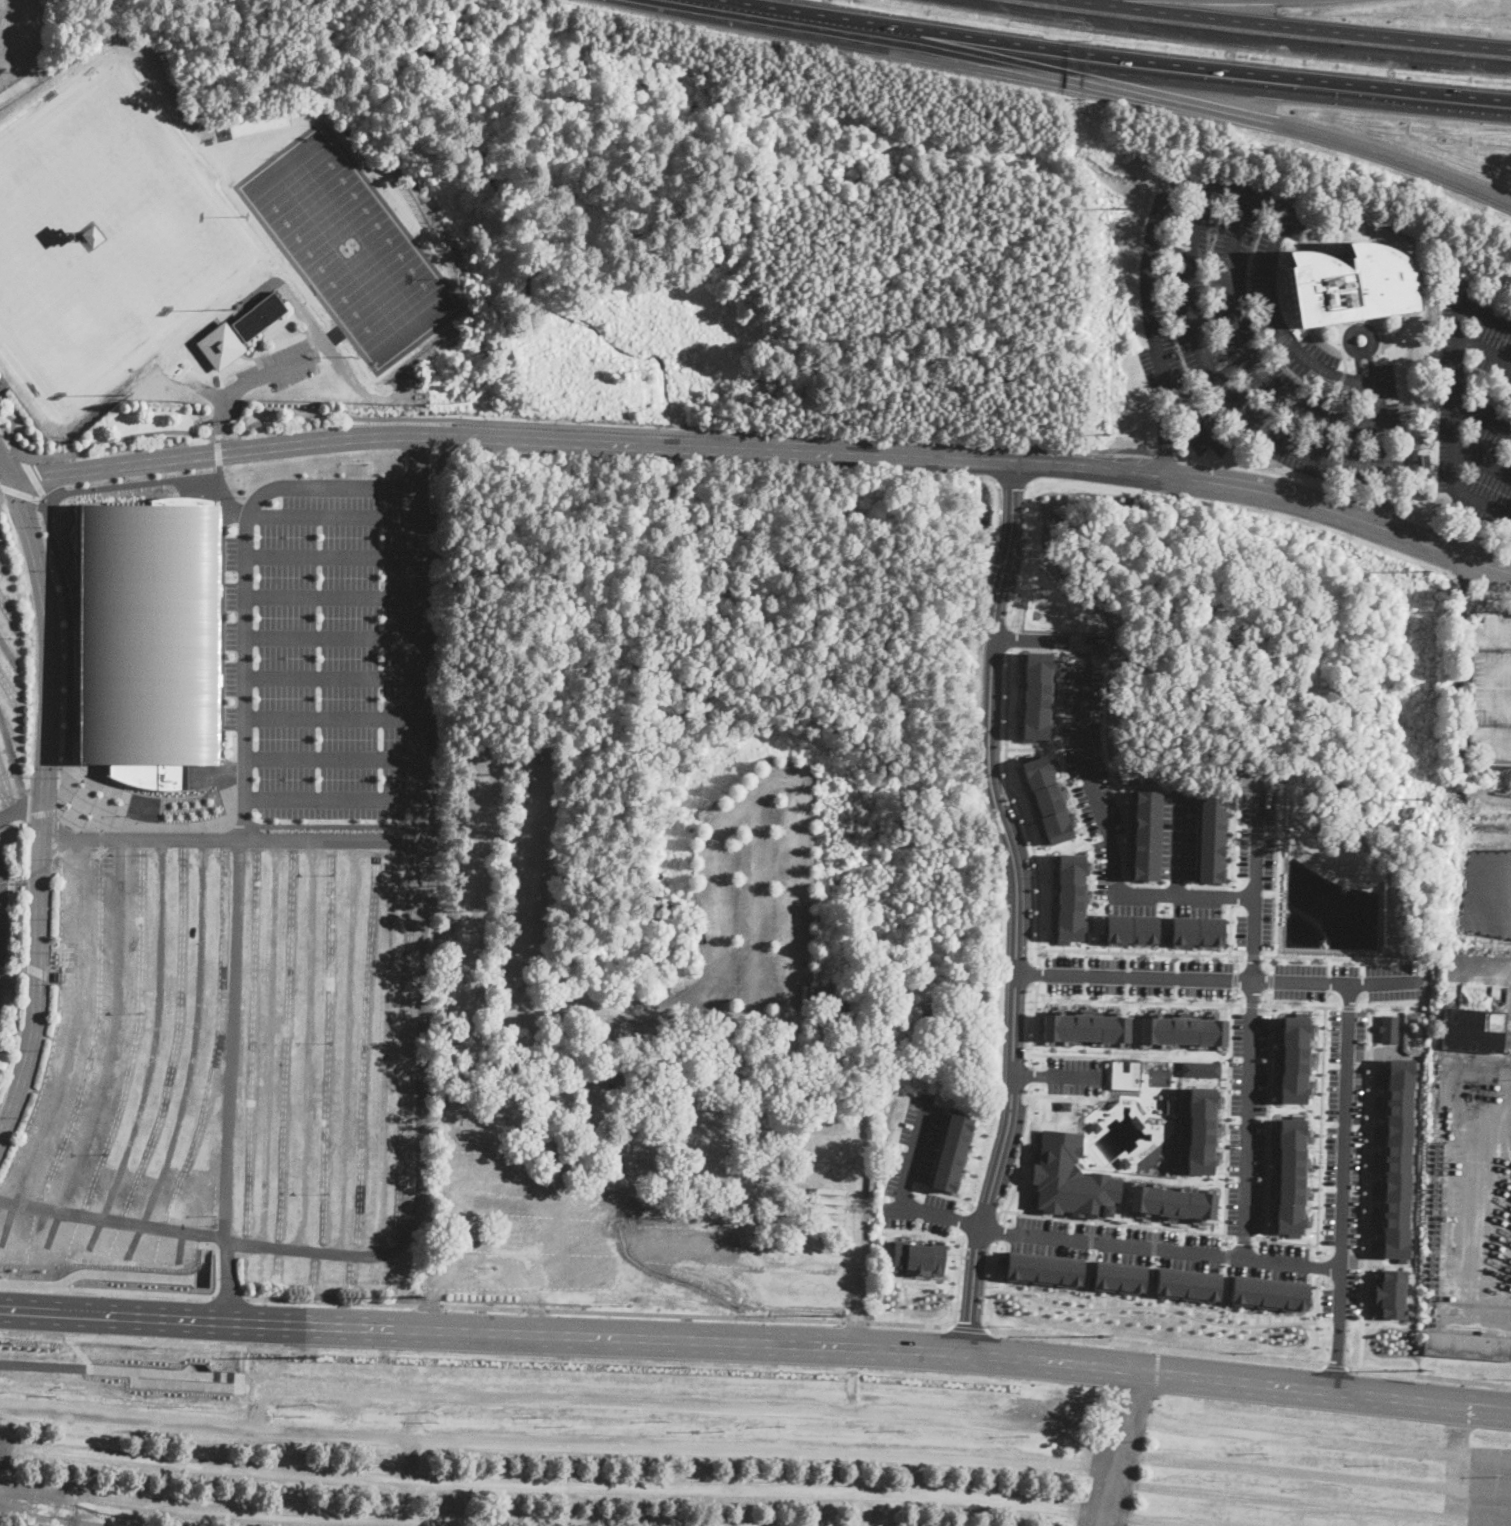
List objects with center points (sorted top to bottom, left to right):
road: (742, 9)
road: (1288, 30)
road: (1153, 70)
road: (1158, 99)
road: (1235, 200)
power tower: (1115, 205)
building: (90, 235)
park: (106, 236)
park: (350, 246)
building: (1349, 286)
building: (239, 331)
parking lot: (1253, 339)
road: (1484, 350)
road: (1249, 355)
road: (1218, 383)
road: (234, 386)
road: (1200, 390)
road: (1456, 394)
parking lot: (1475, 407)
road: (1483, 424)
road: (1198, 428)
road: (694, 431)
road: (225, 435)
power tower: (1104, 436)
road: (88, 447)
road: (215, 450)
road: (767, 452)
road: (1387, 454)
road: (1166, 455)
building: (1425, 460)
road: (418, 464)
road: (1483, 464)
road: (6, 466)
road: (1271, 471)
road: (6, 476)
road: (33, 476)
road: (1012, 482)
road: (136, 483)
road: (1083, 486)
road: (227, 498)
road: (1011, 499)
road: (1380, 505)
road: (994, 510)
road: (333, 518)
road: (1454, 532)
road: (1028, 554)
road: (333, 555)
road: (1005, 563)
road: (2, 567)
power tower: (1428, 567)
road: (246, 583)
road: (1497, 589)
road: (333, 596)
road: (1494, 596)
road: (1502, 624)
road: (333, 636)
building: (149, 638)
road: (1010, 638)
building: (1097, 642)
road: (9, 655)
road: (68, 655)
road: (1099, 658)
road: (1085, 659)
road: (421, 663)
road: (333, 677)
road: (1462, 684)
road: (1485, 688)
building: (1491, 688)
parking garage: (1491, 688)
building: (1035, 695)
road: (991, 698)
road: (333, 718)
road: (1497, 745)
road: (1033, 748)
road: (333, 757)
road: (13, 759)
road: (1096, 793)
power tower: (1417, 797)
road: (333, 798)
building: (1047, 798)
road: (1074, 800)
road: (42, 806)
road: (1019, 806)
road: (21, 807)
building: (1144, 835)
road: (231, 837)
building: (1209, 837)
road: (1177, 844)
road: (1121, 846)
road: (1011, 851)
road: (1231, 858)
road: (1279, 871)
road: (1110, 882)
road: (1177, 885)
road: (1230, 894)
building: (1070, 898)
road: (1017, 918)
road: (1163, 924)
building: (1130, 929)
road: (1229, 929)
building: (1196, 931)
road: (1141, 952)
road: (1254, 955)
road: (1338, 958)
road: (1236, 963)
road: (1271, 964)
road: (1037, 973)
building: (57, 976)
road: (1217, 978)
road: (1235, 978)
road: (1270, 980)
road: (1233, 995)
road: (1270, 996)
road: (1138, 1000)
road: (1252, 1004)
road: (1301, 1005)
road: (1349, 1007)
road: (1364, 1007)
building: (943, 1017)
road: (1251, 1020)
road: (1014, 1021)
road: (1035, 1024)
building: (1085, 1027)
building: (1389, 1028)
building: (1183, 1029)
building: (1472, 1030)
road: (233, 1037)
road: (268, 1040)
road: (308, 1043)
road: (347, 1046)
road: (71, 1047)
road: (385, 1047)
road: (153, 1050)
road: (112, 1051)
road: (193, 1053)
building: (1293, 1059)
building: (1201, 1068)
road: (1026, 1074)
road: (1057, 1075)
road: (1026, 1096)
road: (1268, 1121)
road: (1228, 1126)
building: (1201, 1129)
road: (1321, 1132)
road: (1003, 1150)
building: (949, 1151)
building: (1396, 1157)
road: (1022, 1159)
road: (980, 1161)
road: (1367, 1164)
parking lot: (916, 1171)
building: (1291, 1176)
building: (1070, 1178)
road: (1342, 1188)
road: (902, 1193)
road: (937, 1193)
building: (1173, 1202)
road: (858, 1206)
road: (964, 1220)
road: (1115, 1223)
road: (997, 1230)
road: (921, 1231)
road: (1091, 1233)
road: (1244, 1237)
road: (200, 1239)
road: (1154, 1241)
road: (1284, 1241)
road: (400, 1242)
road: (1159, 1247)
building: (917, 1256)
road: (1228, 1256)
road: (217, 1264)
road: (1317, 1266)
building: (1044, 1268)
road: (137, 1273)
road: (974, 1274)
building: (1119, 1276)
road: (1087, 1277)
road: (62, 1278)
road: (226, 1279)
road: (956, 1279)
road: (906, 1281)
road: (1150, 1281)
road: (989, 1285)
building: (1186, 1285)
road: (105, 1291)
road: (1224, 1293)
building: (1269, 1293)
building: (1390, 1293)
road: (234, 1296)
power tower: (415, 1296)
road: (337, 1300)
road: (429, 1306)
road: (1151, 1307)
road: (483, 1308)
road: (536, 1309)
power tower: (837, 1315)
road: (696, 1316)
road: (1315, 1319)
road: (856, 1321)
road: (908, 1324)
road: (968, 1327)
power tower: (1100, 1335)
power tower: (5, 1342)
road: (756, 1342)
road: (216, 1344)
road: (1156, 1346)
building: (1467, 1346)
power tower: (311, 1358)
road: (43, 1362)
road: (193, 1365)
road: (1336, 1365)
road: (139, 1368)
power tower: (1420, 1369)
road: (238, 1373)
road: (1429, 1375)
road: (256, 1378)
road: (695, 1405)
road: (1305, 1441)
road: (555, 1442)
parking lot: (530, 1443)
road: (1118, 1448)
road: (407, 1455)
road: (1299, 1469)
parking lot: (1295, 1472)
road: (1481, 1480)
parking lot: (1490, 1484)
road: (549, 1485)
road: (1496, 1487)
road: (1294, 1499)
road: (50, 1508)
building: (60, 1512)
road: (294, 1514)
road: (1159, 1519)
road: (1494, 1521)
road: (449, 1523)

